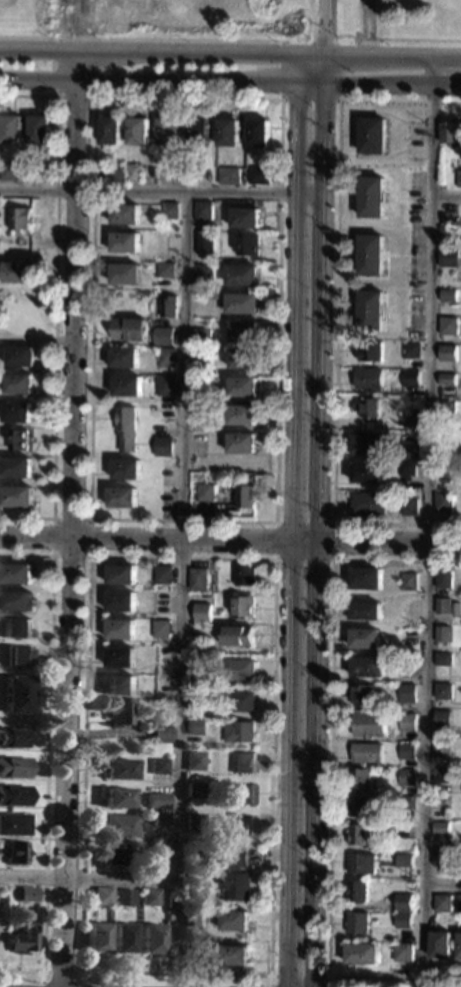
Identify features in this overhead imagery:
road: (321, 26)
road: (139, 38)
road: (147, 51)
road: (309, 53)
road: (392, 55)
road: (323, 68)
road: (161, 81)
road: (56, 84)
road: (391, 84)
road: (280, 99)
road: (279, 100)
building: (10, 130)
building: (38, 130)
building: (110, 131)
building: (137, 131)
building: (168, 132)
building: (197, 132)
building: (448, 132)
building: (228, 133)
building: (258, 133)
building: (371, 135)
building: (8, 172)
building: (133, 172)
building: (114, 174)
building: (228, 175)
building: (258, 175)
building: (458, 179)
road: (160, 191)
road: (445, 196)
building: (371, 197)
building: (168, 211)
building: (202, 211)
building: (124, 214)
building: (243, 217)
building: (18, 218)
building: (124, 242)
building: (203, 243)
building: (246, 245)
building: (370, 255)
building: (446, 257)
building: (164, 270)
building: (17, 271)
building: (202, 273)
building: (125, 274)
building: (241, 275)
building: (213, 295)
building: (445, 295)
road: (53, 303)
building: (241, 303)
building: (167, 307)
building: (369, 310)
road: (335, 315)
building: (446, 325)
building: (128, 329)
building: (242, 331)
building: (162, 336)
building: (200, 337)
building: (408, 349)
building: (368, 351)
building: (445, 353)
building: (19, 356)
building: (165, 357)
building: (123, 358)
building: (200, 359)
building: (242, 359)
building: (408, 378)
building: (367, 379)
building: (444, 379)
building: (16, 383)
building: (164, 385)
building: (126, 386)
building: (242, 387)
building: (444, 407)
building: (367, 408)
building: (14, 412)
building: (201, 414)
building: (241, 415)
building: (408, 418)
building: (124, 428)
building: (17, 439)
building: (241, 443)
building: (366, 444)
building: (162, 446)
building: (407, 449)
building: (460, 453)
building: (14, 467)
building: (405, 467)
building: (442, 467)
building: (125, 469)
building: (365, 471)
building: (205, 492)
building: (15, 496)
building: (245, 496)
building: (121, 497)
building: (442, 502)
building: (368, 504)
building: (409, 506)
road: (51, 517)
road: (71, 518)
road: (291, 520)
road: (427, 522)
road: (319, 534)
road: (230, 544)
road: (274, 560)
road: (332, 560)
building: (15, 573)
building: (119, 574)
building: (162, 574)
building: (244, 575)
building: (365, 578)
building: (441, 578)
building: (197, 579)
building: (407, 581)
road: (182, 589)
building: (15, 601)
building: (119, 602)
building: (242, 606)
building: (440, 606)
building: (453, 608)
building: (364, 610)
building: (196, 617)
building: (15, 628)
building: (119, 629)
building: (160, 629)
building: (196, 633)
building: (440, 634)
building: (237, 636)
building: (363, 638)
building: (18, 656)
building: (118, 657)
building: (440, 659)
building: (195, 665)
building: (366, 666)
building: (239, 670)
building: (119, 685)
building: (440, 690)
building: (404, 693)
building: (16, 694)
building: (361, 694)
building: (196, 699)
building: (238, 701)
building: (119, 713)
building: (440, 719)
building: (404, 722)
building: (367, 725)
building: (194, 727)
building: (238, 731)
building: (160, 735)
building: (13, 738)
building: (439, 750)
building: (404, 751)
building: (365, 752)
road: (47, 760)
building: (194, 761)
building: (243, 763)
building: (158, 766)
building: (13, 767)
building: (118, 769)
road: (329, 771)
building: (438, 774)
building: (404, 777)
building: (358, 778)
building: (195, 791)
building: (242, 794)
building: (13, 796)
building: (117, 798)
building: (156, 801)
building: (404, 802)
building: (438, 802)
building: (357, 805)
building: (160, 821)
building: (194, 822)
building: (14, 825)
building: (239, 825)
building: (119, 826)
building: (438, 828)
building: (357, 833)
building: (212, 848)
building: (15, 852)
building: (114, 853)
building: (438, 857)
building: (158, 860)
building: (402, 860)
building: (359, 863)
road: (89, 876)
building: (233, 876)
road: (442, 881)
building: (355, 891)
building: (27, 894)
building: (101, 896)
building: (150, 897)
building: (123, 898)
building: (402, 902)
building: (440, 903)
building: (458, 903)
building: (192, 917)
building: (232, 920)
building: (401, 920)
building: (356, 923)
building: (98, 938)
building: (124, 938)
building: (23, 939)
building: (152, 939)
building: (439, 944)
building: (458, 945)
building: (401, 952)
building: (360, 953)
building: (194, 956)
building: (232, 956)
road: (63, 971)
road: (297, 977)

